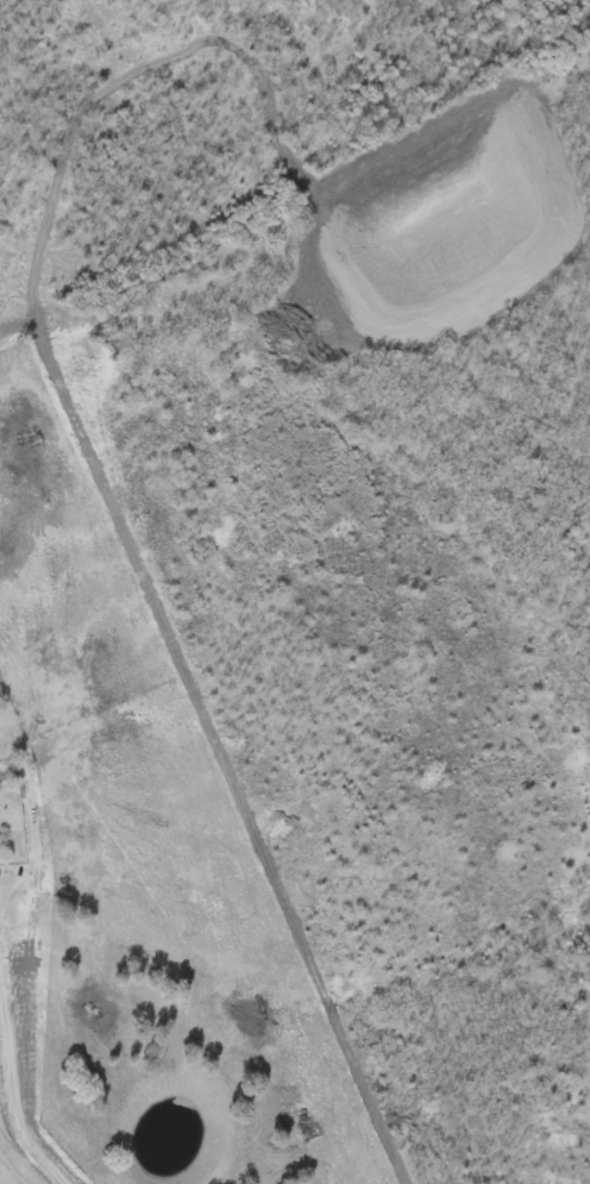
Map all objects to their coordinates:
road: (302, 787)

